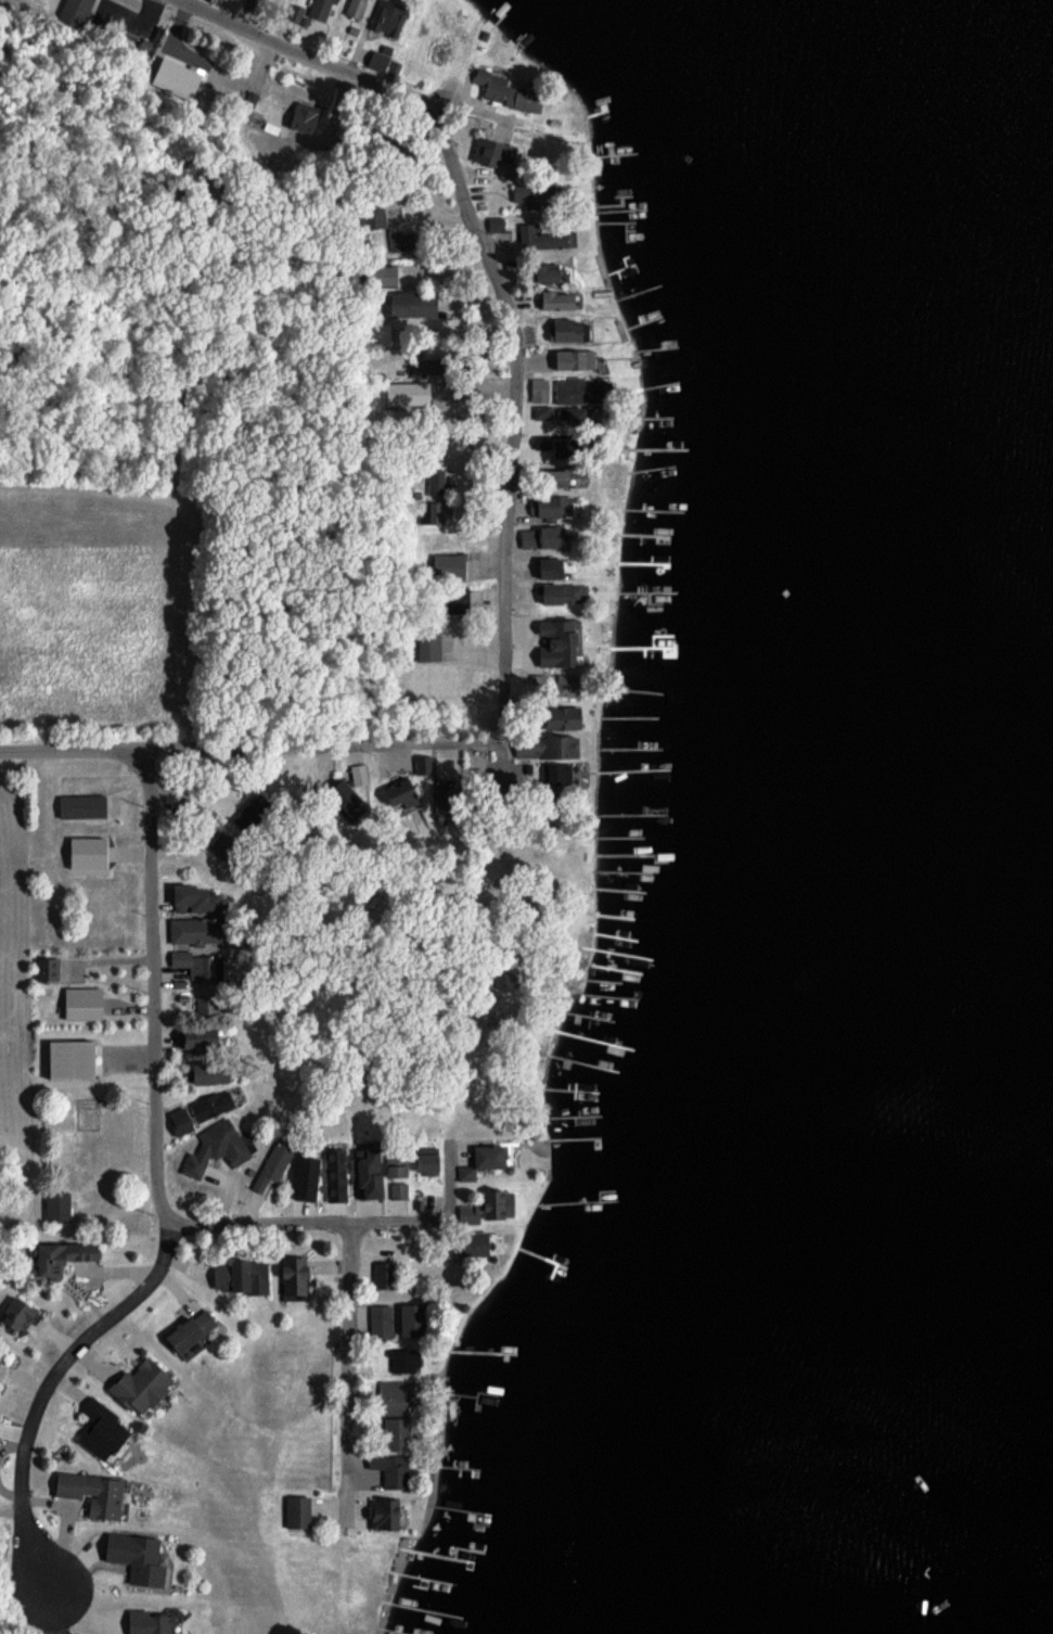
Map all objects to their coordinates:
building: (253, 1)
building: (355, 8)
building: (78, 9)
building: (320, 9)
building: (295, 12)
building: (386, 17)
building: (177, 76)
building: (490, 84)
road: (394, 93)
building: (522, 98)
building: (307, 105)
building: (300, 119)
building: (488, 151)
building: (529, 194)
building: (496, 224)
building: (543, 238)
building: (398, 240)
building: (543, 273)
building: (387, 276)
building: (554, 299)
building: (409, 303)
building: (567, 328)
building: (380, 333)
building: (573, 357)
building: (538, 388)
building: (578, 390)
building: (408, 393)
building: (541, 412)
building: (537, 447)
building: (555, 475)
building: (436, 481)
road: (511, 497)
building: (550, 505)
building: (434, 511)
building: (538, 535)
building: (449, 565)
building: (562, 591)
building: (451, 599)
building: (555, 640)
building: (427, 643)
building: (568, 685)
building: (560, 716)
road: (498, 717)
building: (558, 743)
road: (236, 752)
building: (423, 763)
building: (561, 771)
building: (359, 773)
building: (341, 792)
building: (399, 796)
building: (80, 804)
building: (85, 852)
building: (192, 896)
building: (195, 929)
building: (197, 963)
building: (47, 967)
road: (155, 985)
building: (205, 1000)
building: (81, 1003)
building: (194, 1037)
building: (68, 1058)
building: (208, 1071)
building: (211, 1103)
building: (180, 1120)
building: (215, 1147)
building: (487, 1154)
building: (424, 1161)
building: (272, 1164)
building: (394, 1170)
building: (367, 1172)
building: (334, 1173)
building: (465, 1173)
building: (304, 1176)
building: (398, 1189)
building: (55, 1205)
building: (485, 1205)
road: (310, 1227)
building: (477, 1244)
building: (59, 1255)
building: (291, 1273)
building: (382, 1274)
building: (240, 1275)
building: (14, 1313)
building: (408, 1318)
building: (380, 1320)
building: (187, 1329)
building: (404, 1358)
road: (347, 1376)
building: (139, 1384)
building: (393, 1396)
road: (43, 1404)
building: (99, 1428)
building: (395, 1432)
building: (389, 1468)
building: (91, 1492)
building: (296, 1510)
building: (381, 1512)
building: (137, 1556)
building: (147, 1622)

